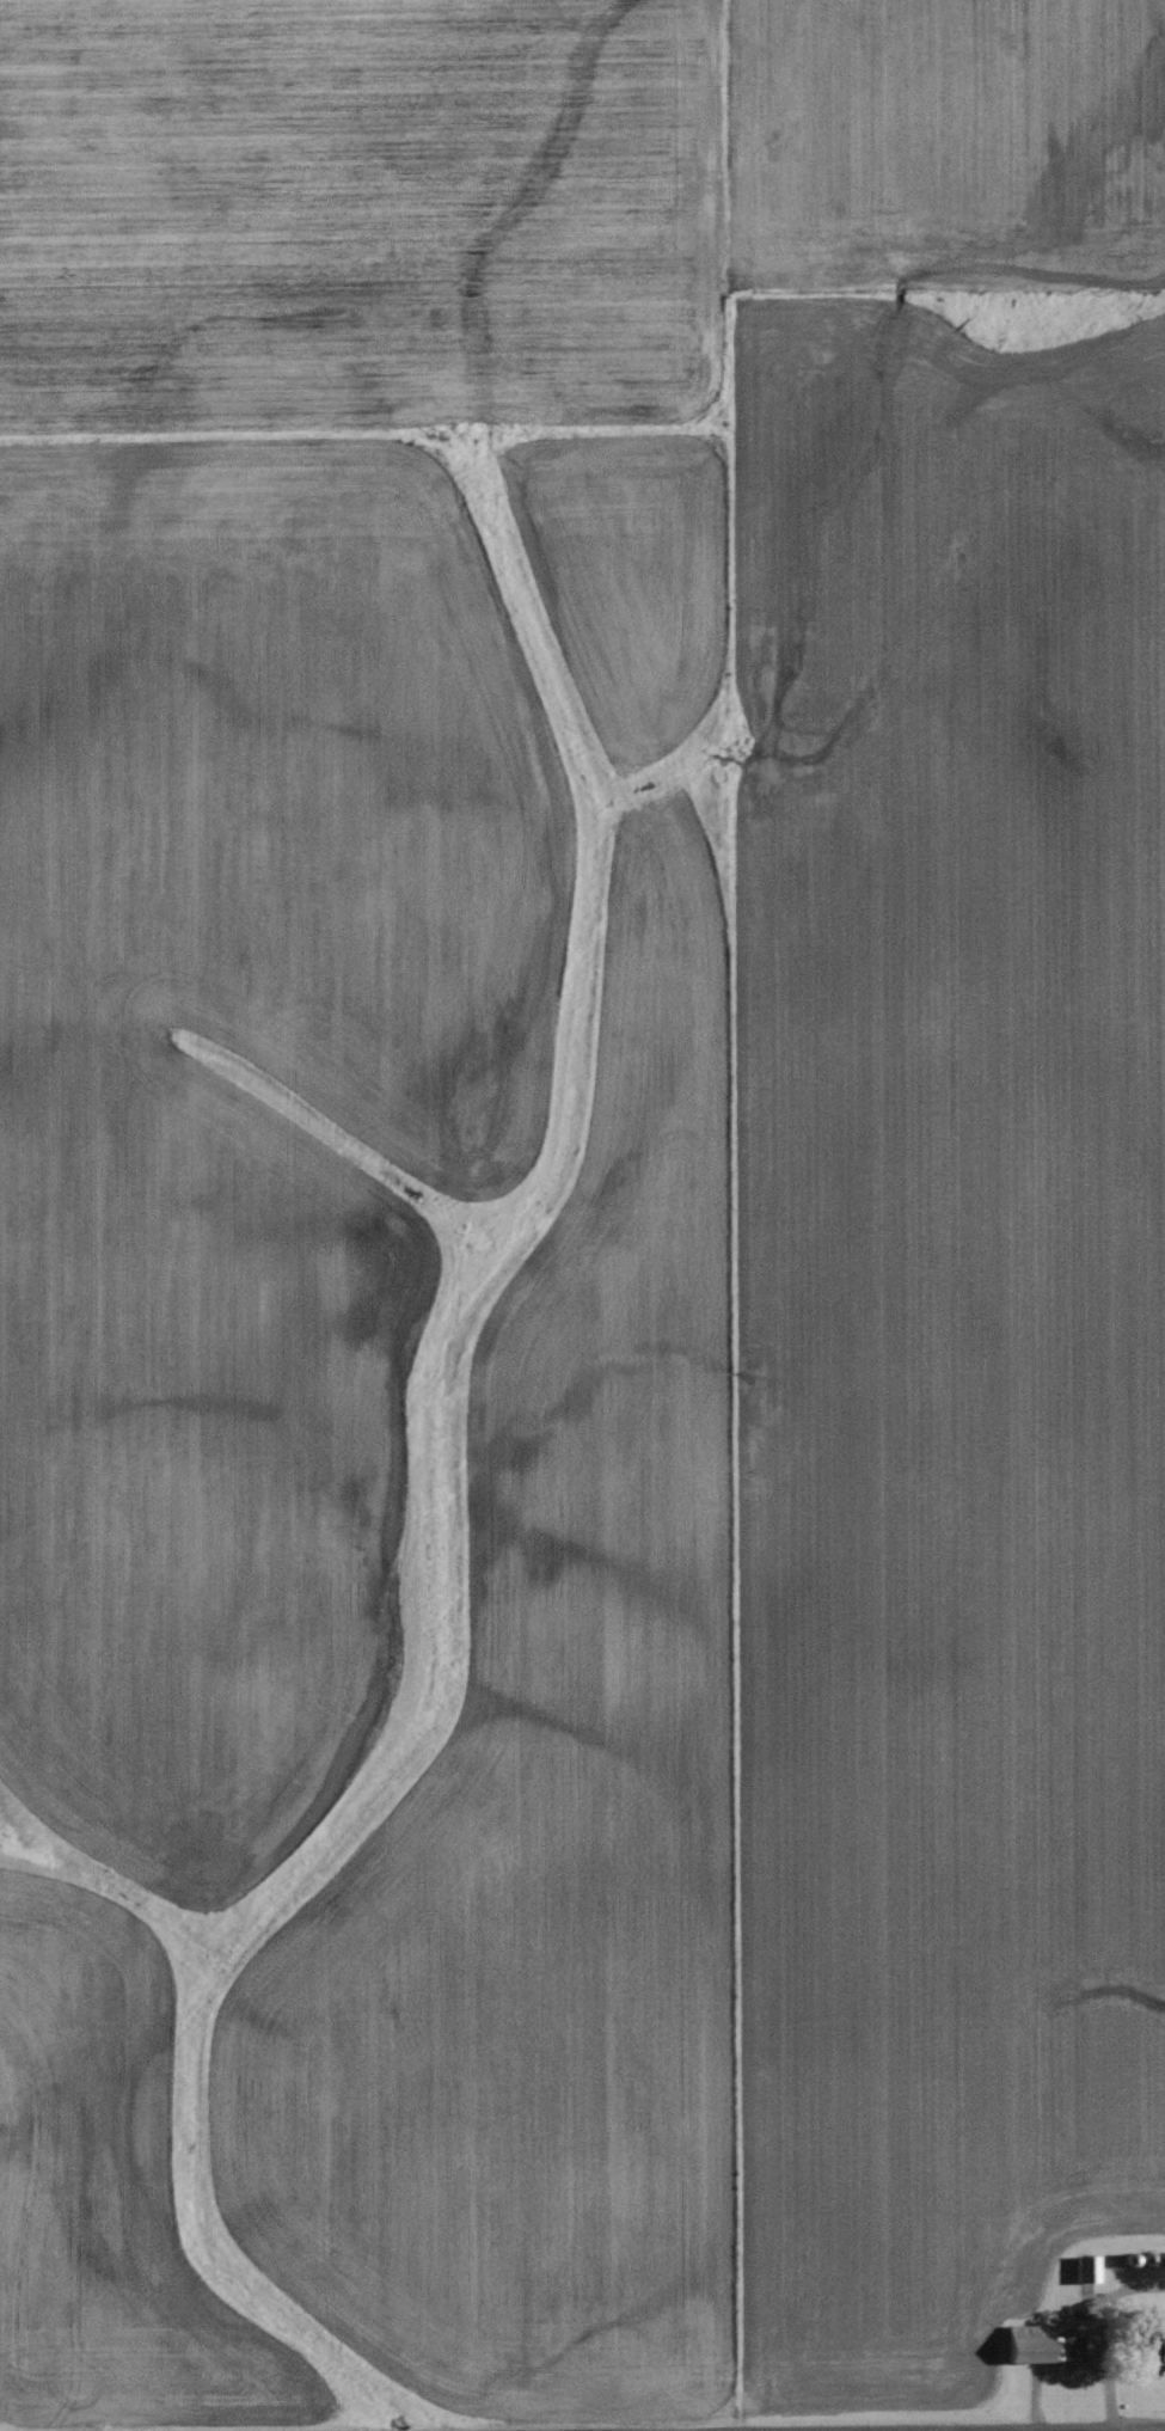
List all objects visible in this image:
crop: (577, 1193)
building: (1046, 2329)
road: (1127, 2430)

